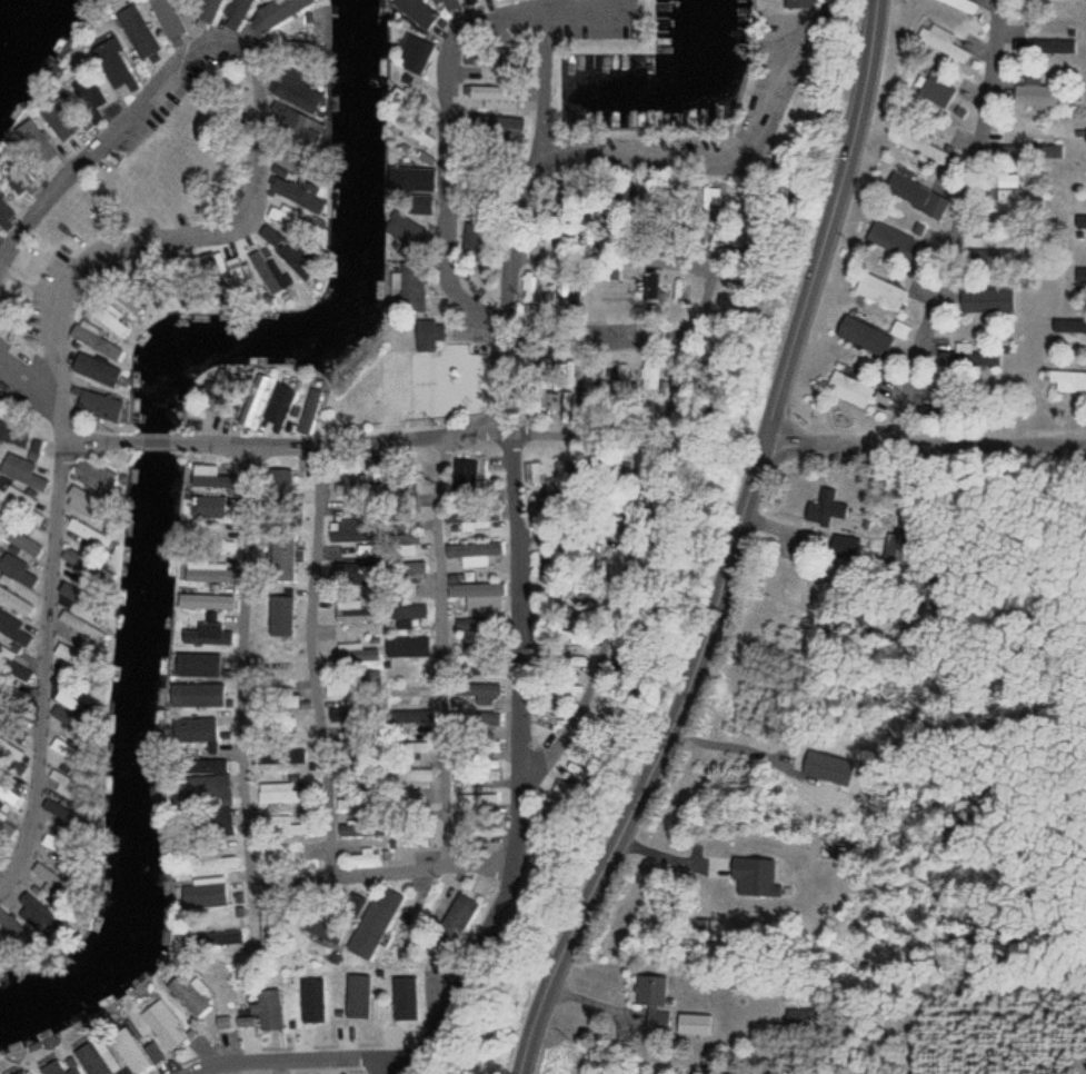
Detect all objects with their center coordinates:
building: (1050, 0)
building: (963, 6)
building: (206, 10)
building: (417, 12)
building: (236, 13)
building: (168, 21)
building: (141, 36)
building: (941, 42)
building: (1057, 47)
building: (415, 57)
building: (111, 62)
building: (89, 91)
building: (937, 92)
building: (478, 95)
building: (1036, 96)
road: (450, 108)
building: (424, 110)
building: (36, 141)
building: (920, 143)
road: (97, 152)
road: (639, 153)
building: (917, 196)
building: (1017, 202)
building: (3, 212)
road: (976, 220)
road: (190, 235)
building: (893, 240)
building: (1004, 251)
building: (238, 275)
building: (1080, 278)
building: (528, 286)
building: (880, 292)
road: (600, 314)
building: (1078, 326)
building: (427, 335)
building: (866, 337)
building: (96, 367)
building: (1068, 380)
road: (674, 389)
building: (848, 389)
road: (28, 395)
building: (279, 405)
building: (97, 406)
building: (249, 408)
building: (310, 411)
road: (102, 432)
road: (419, 439)
road: (153, 441)
road: (924, 444)
building: (205, 470)
building: (23, 471)
building: (532, 473)
building: (466, 475)
road: (585, 488)
building: (83, 496)
building: (212, 507)
building: (825, 509)
building: (89, 534)
building: (21, 540)
building: (408, 544)
road: (734, 547)
building: (898, 550)
building: (477, 554)
road: (525, 557)
building: (417, 568)
building: (16, 569)
building: (494, 593)
building: (16, 601)
building: (213, 601)
building: (407, 615)
building: (83, 626)
building: (203, 634)
building: (421, 643)
building: (67, 652)
road: (437, 652)
building: (6, 653)
road: (49, 658)
road: (333, 658)
road: (250, 660)
building: (201, 664)
building: (407, 690)
building: (484, 693)
building: (209, 694)
building: (564, 696)
building: (283, 698)
building: (418, 716)
building: (486, 718)
building: (16, 732)
building: (198, 733)
building: (62, 746)
building: (489, 746)
building: (412, 747)
building: (10, 750)
building: (216, 765)
building: (283, 765)
building: (490, 774)
building: (412, 777)
building: (212, 793)
building: (278, 793)
building: (9, 795)
building: (478, 803)
building: (226, 818)
building: (283, 826)
building: (485, 831)
building: (419, 834)
building: (368, 857)
building: (210, 862)
road: (398, 867)
building: (376, 922)
building: (650, 991)
building: (186, 992)
building: (356, 996)
building: (267, 1011)
building: (162, 1024)
building: (694, 1024)
building: (130, 1048)
road: (297, 1060)
building: (57, 1068)
building: (23, 1072)

